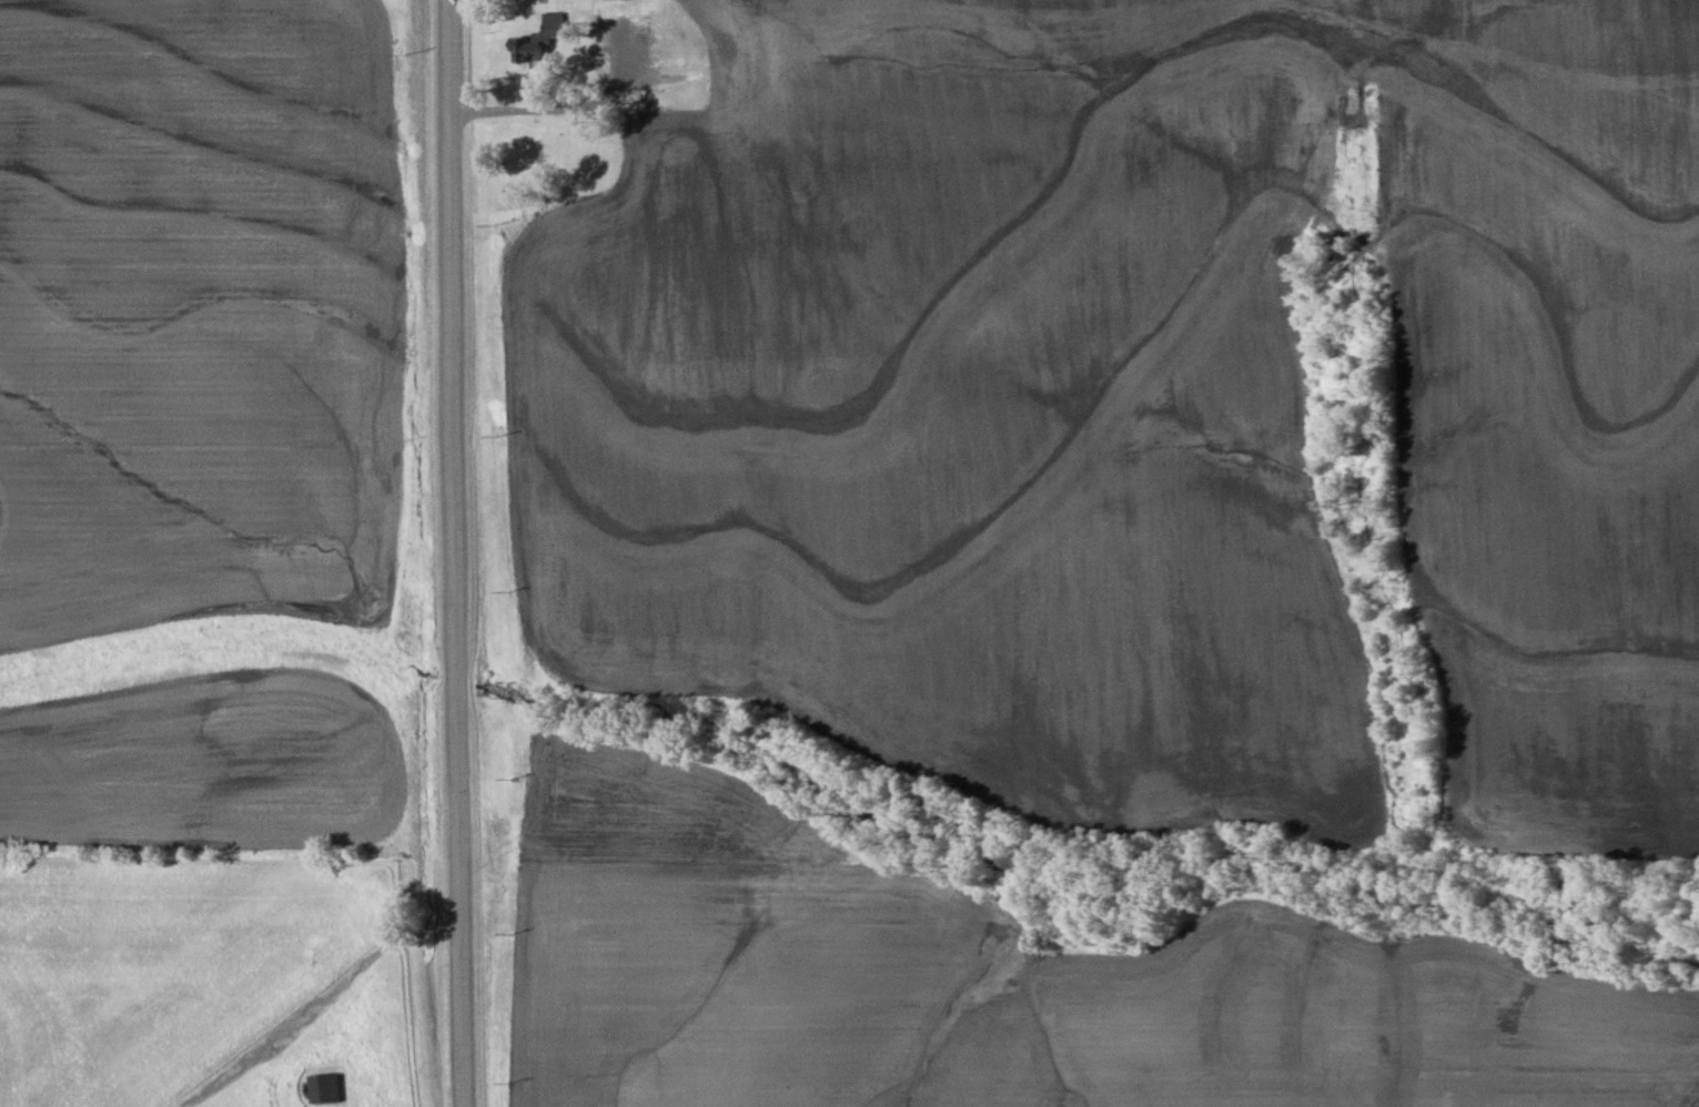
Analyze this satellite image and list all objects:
building: (537, 40)
road: (599, 106)
road: (451, 406)
road: (457, 961)
building: (324, 1089)

